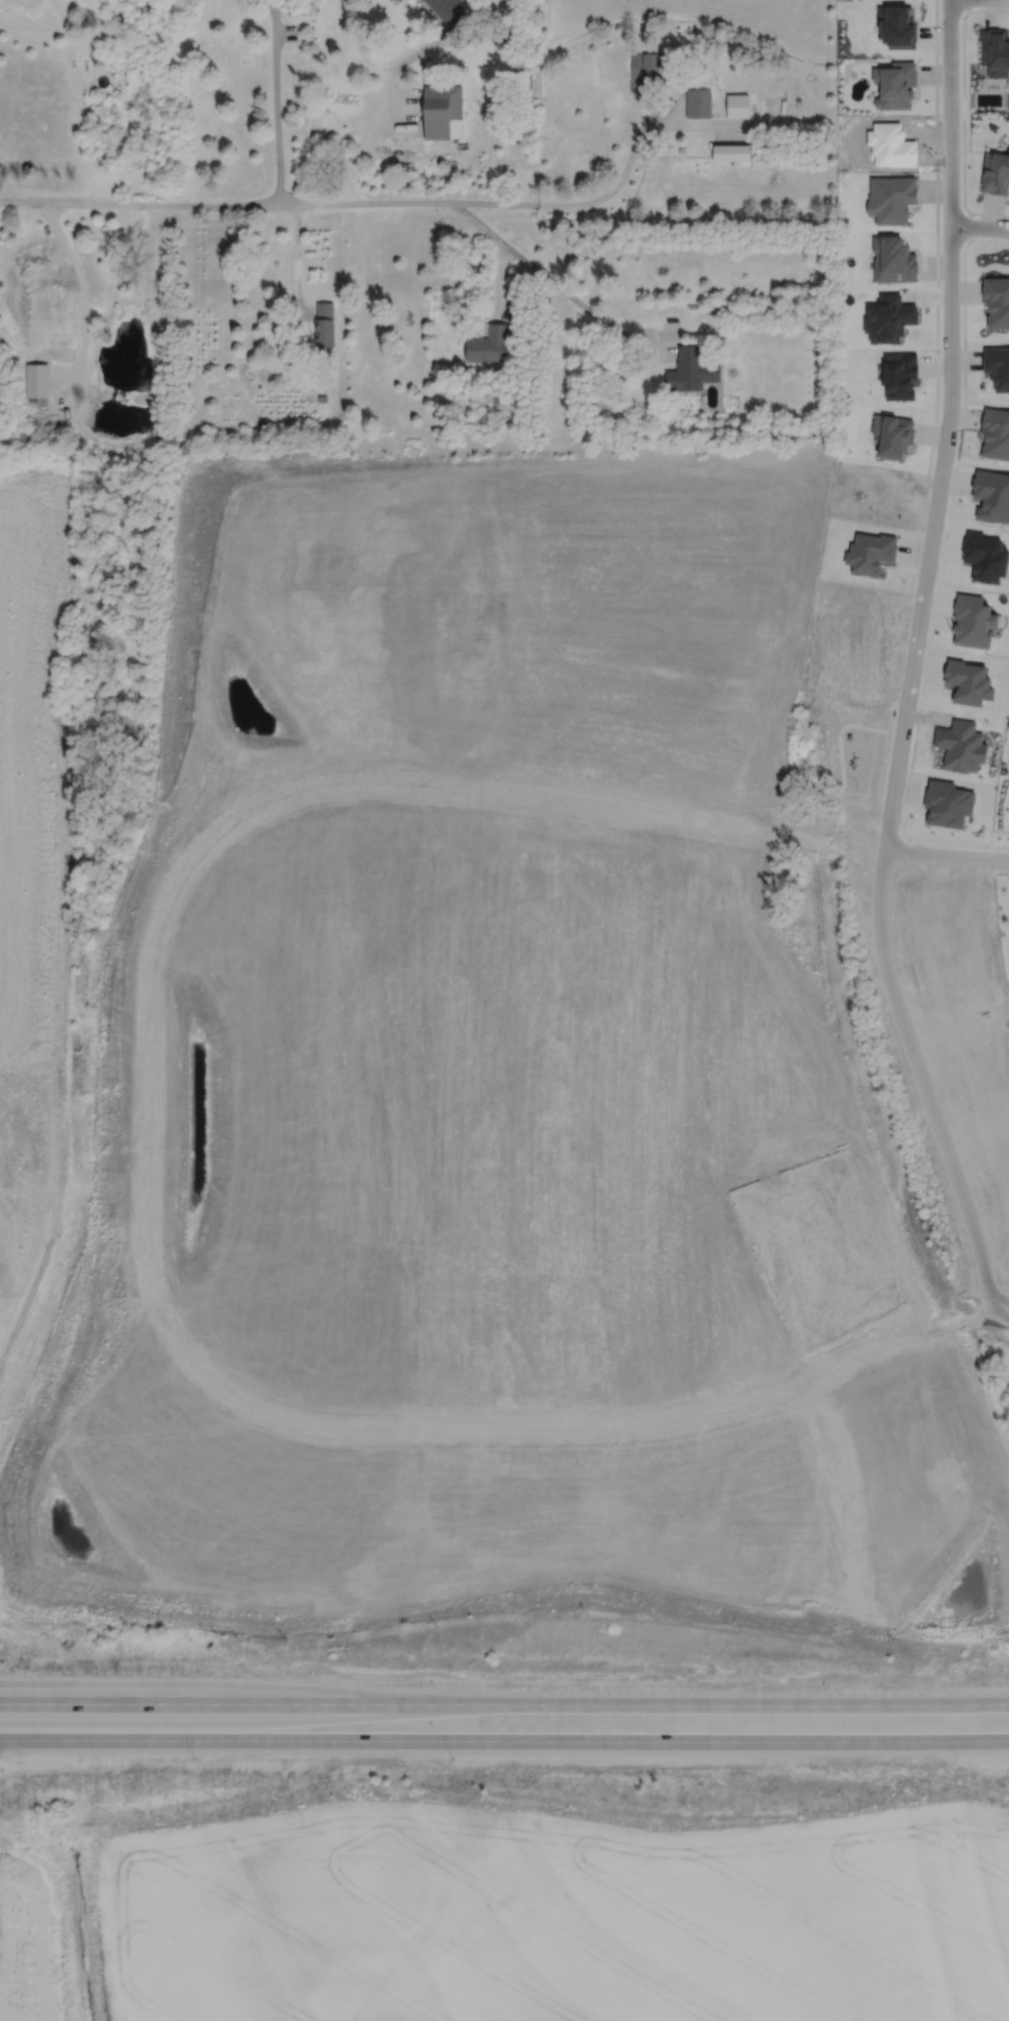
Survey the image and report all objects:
building: (442, 5)
building: (457, 20)
building: (994, 50)
building: (648, 67)
building: (896, 82)
park: (1008, 99)
road: (275, 101)
building: (697, 102)
building: (737, 104)
building: (442, 110)
road: (963, 110)
road: (374, 115)
building: (731, 151)
building: (995, 171)
building: (891, 197)
road: (395, 201)
road: (979, 226)
road: (296, 257)
building: (894, 259)
road: (539, 272)
road: (498, 279)
road: (84, 293)
building: (324, 324)
building: (489, 344)
building: (692, 369)
building: (36, 379)
building: (322, 398)
building: (995, 433)
building: (185, 447)
building: (991, 494)
road: (911, 668)
building: (958, 744)
road: (536, 796)
road: (946, 855)
road: (75, 1082)
road: (151, 1107)
road: (998, 1301)
road: (998, 1320)
road: (605, 1422)
road: (852, 1535)
road: (831, 1539)
street lamp: (96, 1667)
street lamp: (309, 1673)
road: (185, 1701)
road: (690, 1702)
road: (504, 1739)
street lamp: (194, 1758)
street lamp: (452, 1759)

